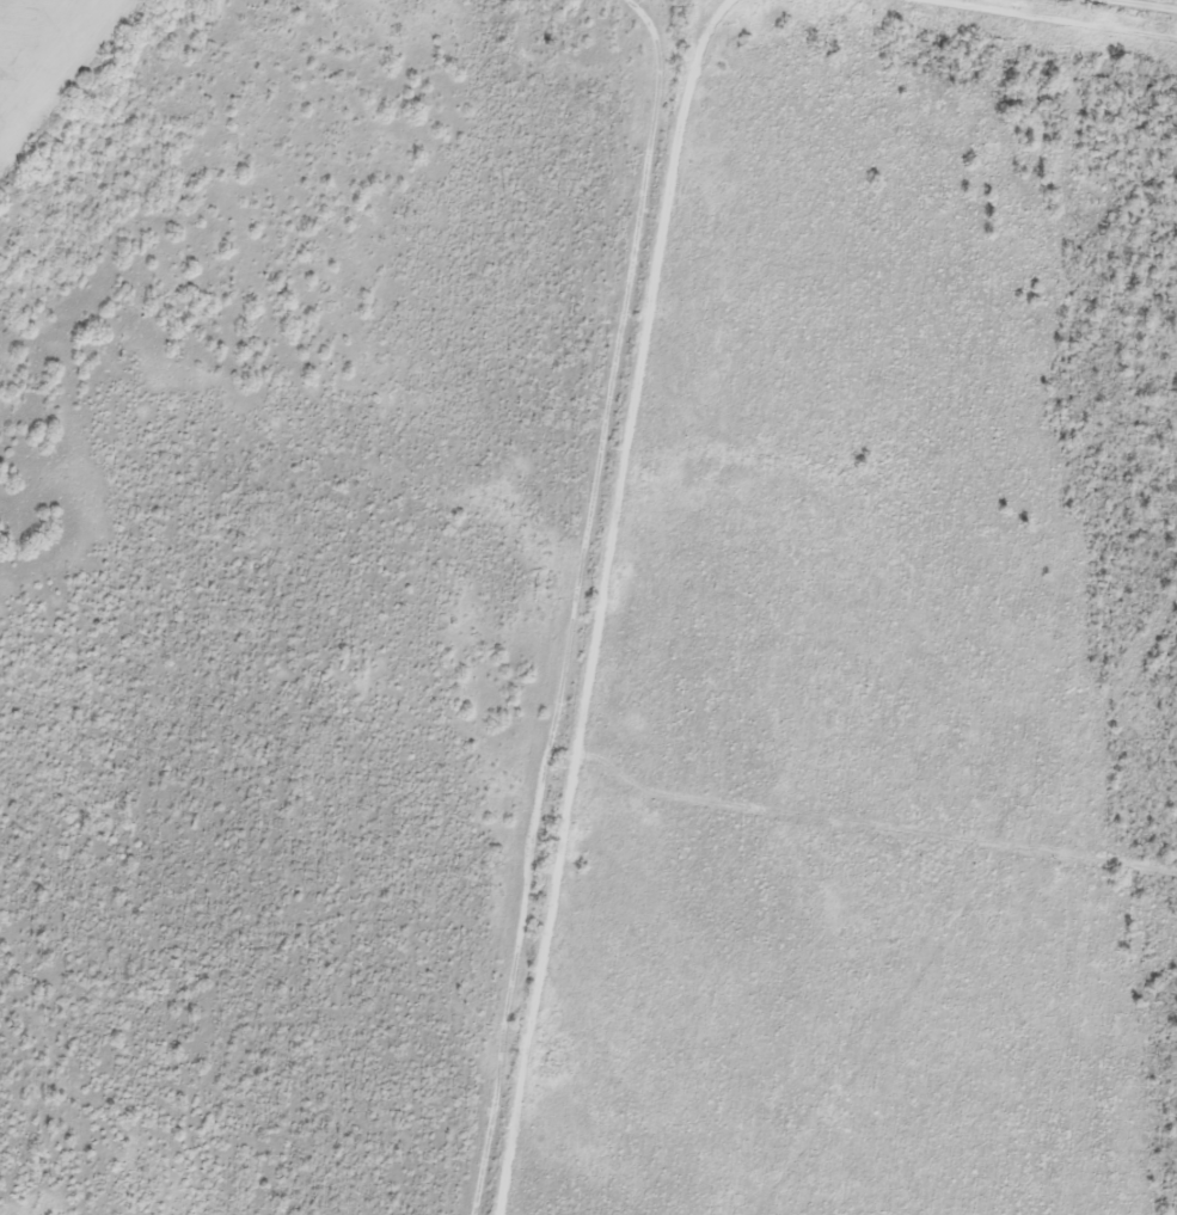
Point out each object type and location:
road: (1069, 17)
road: (607, 607)

